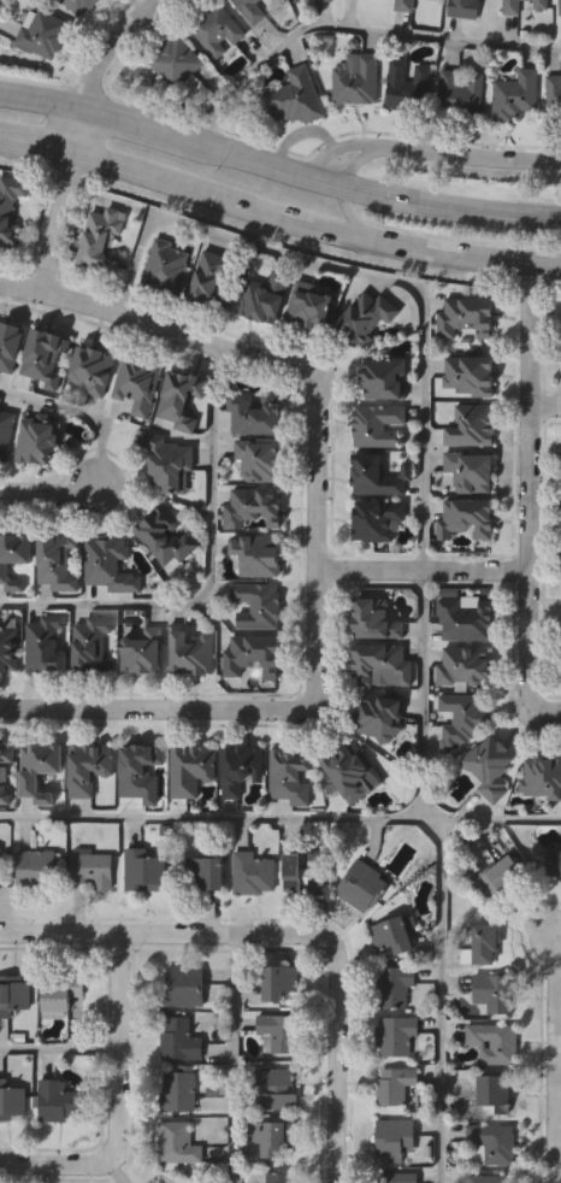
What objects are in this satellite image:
building: (317, 0)
road: (1, 1)
building: (542, 4)
building: (82, 5)
building: (406, 5)
building: (513, 6)
building: (560, 6)
building: (463, 8)
building: (253, 10)
road: (350, 29)
building: (217, 30)
building: (43, 33)
road: (107, 47)
building: (176, 61)
building: (355, 80)
building: (408, 87)
building: (459, 90)
building: (514, 95)
building: (294, 96)
building: (553, 100)
road: (41, 102)
road: (119, 124)
road: (78, 133)
road: (37, 147)
road: (330, 148)
road: (470, 148)
road: (223, 155)
road: (356, 164)
road: (315, 184)
road: (224, 200)
road: (450, 205)
building: (11, 210)
road: (354, 219)
road: (59, 223)
building: (102, 239)
road: (467, 258)
building: (166, 265)
building: (214, 279)
building: (264, 298)
building: (311, 305)
building: (365, 317)
building: (467, 317)
road: (155, 323)
building: (11, 345)
building: (46, 355)
road: (426, 367)
building: (95, 370)
building: (385, 376)
building: (468, 377)
building: (138, 384)
building: (182, 402)
road: (545, 404)
building: (254, 412)
road: (79, 413)
building: (378, 424)
building: (471, 426)
building: (6, 434)
building: (39, 437)
building: (258, 459)
building: (166, 463)
building: (471, 470)
building: (379, 475)
road: (531, 485)
road: (54, 498)
building: (252, 506)
building: (466, 517)
building: (377, 518)
building: (165, 532)
road: (318, 537)
building: (256, 554)
building: (13, 555)
building: (58, 559)
road: (425, 561)
building: (111, 563)
road: (213, 576)
building: (258, 606)
building: (376, 618)
building: (466, 618)
building: (43, 643)
building: (94, 643)
building: (10, 647)
building: (144, 649)
building: (189, 653)
building: (252, 655)
building: (382, 664)
building: (465, 664)
road: (545, 705)
road: (155, 707)
building: (380, 716)
building: (459, 718)
building: (89, 766)
building: (490, 766)
building: (193, 767)
building: (242, 767)
building: (350, 767)
building: (41, 769)
building: (1, 771)
building: (142, 771)
building: (542, 777)
building: (289, 778)
road: (280, 820)
building: (553, 861)
building: (1, 866)
building: (93, 866)
building: (36, 867)
building: (146, 869)
building: (207, 871)
building: (254, 872)
building: (303, 873)
building: (504, 876)
building: (365, 885)
road: (155, 932)
building: (390, 934)
building: (483, 943)
building: (279, 981)
building: (396, 984)
building: (184, 985)
building: (61, 991)
building: (495, 991)
building: (14, 993)
road: (444, 1002)
building: (278, 1029)
building: (396, 1035)
building: (181, 1040)
building: (495, 1042)
road: (58, 1049)
road: (559, 1052)
road: (335, 1053)
road: (235, 1059)
road: (556, 1067)
building: (396, 1084)
building: (277, 1085)
building: (178, 1090)
building: (497, 1090)
road: (116, 1099)
building: (11, 1100)
building: (57, 1100)
building: (277, 1138)
building: (395, 1138)
building: (490, 1142)
building: (178, 1143)
road: (559, 1166)
building: (397, 1177)
building: (280, 1178)
building: (489, 1178)

